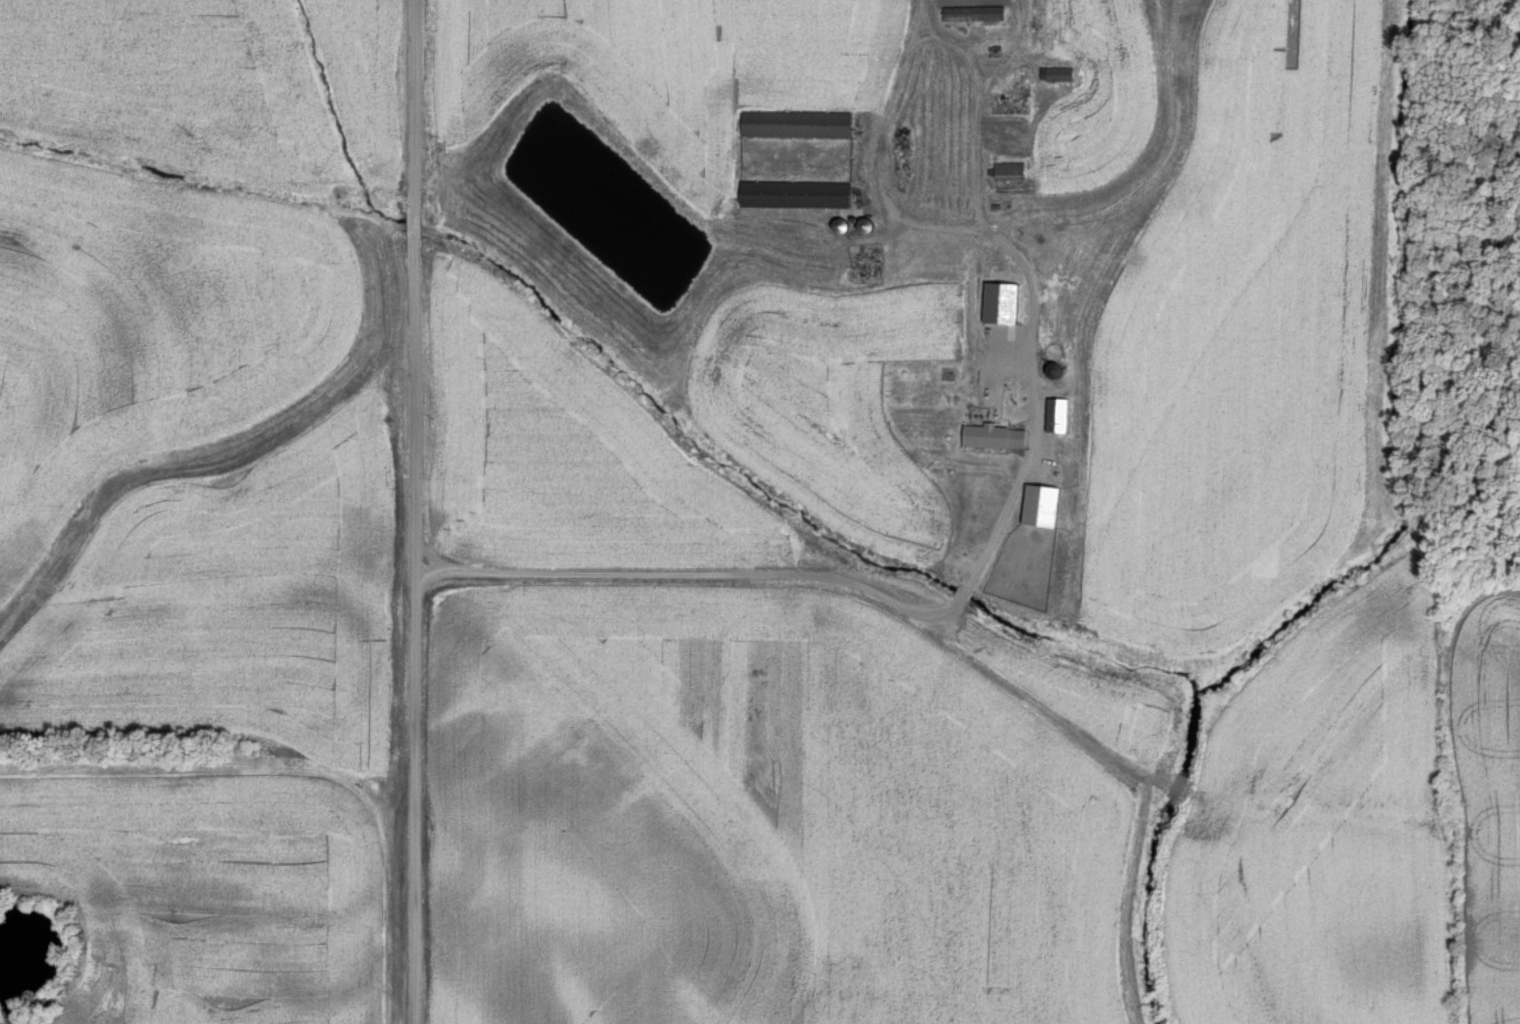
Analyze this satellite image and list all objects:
building: (969, 14)
building: (1053, 74)
building: (793, 125)
building: (1006, 171)
building: (792, 194)
building: (993, 300)
building: (1049, 352)
building: (1049, 372)
building: (1053, 416)
building: (992, 437)
building: (1036, 501)
road: (406, 511)
road: (815, 589)
road: (1293, 805)

